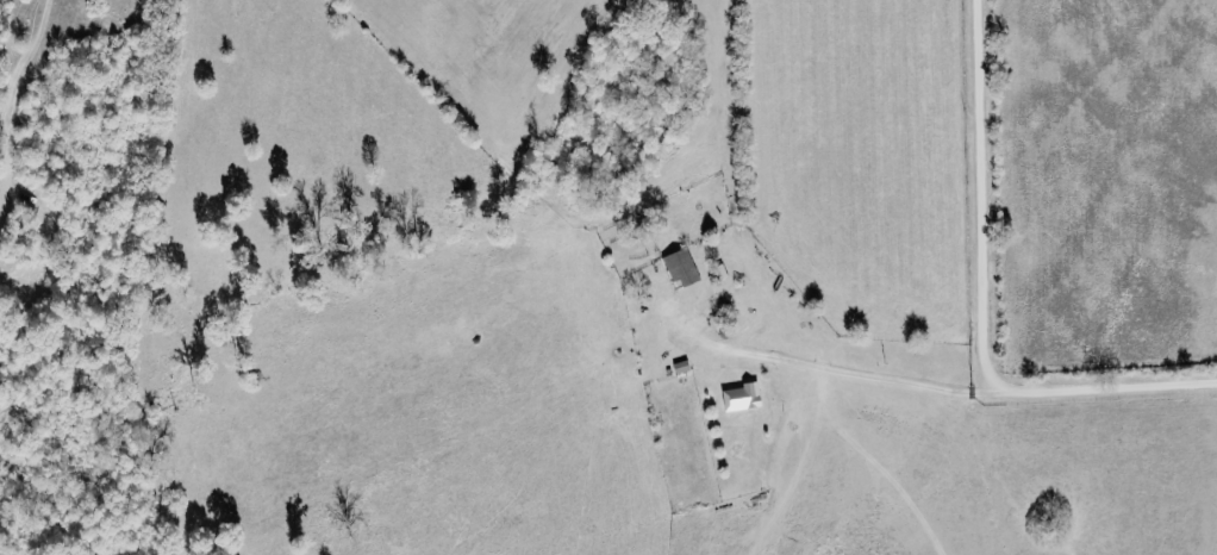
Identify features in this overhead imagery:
building: (678, 267)
building: (738, 395)

